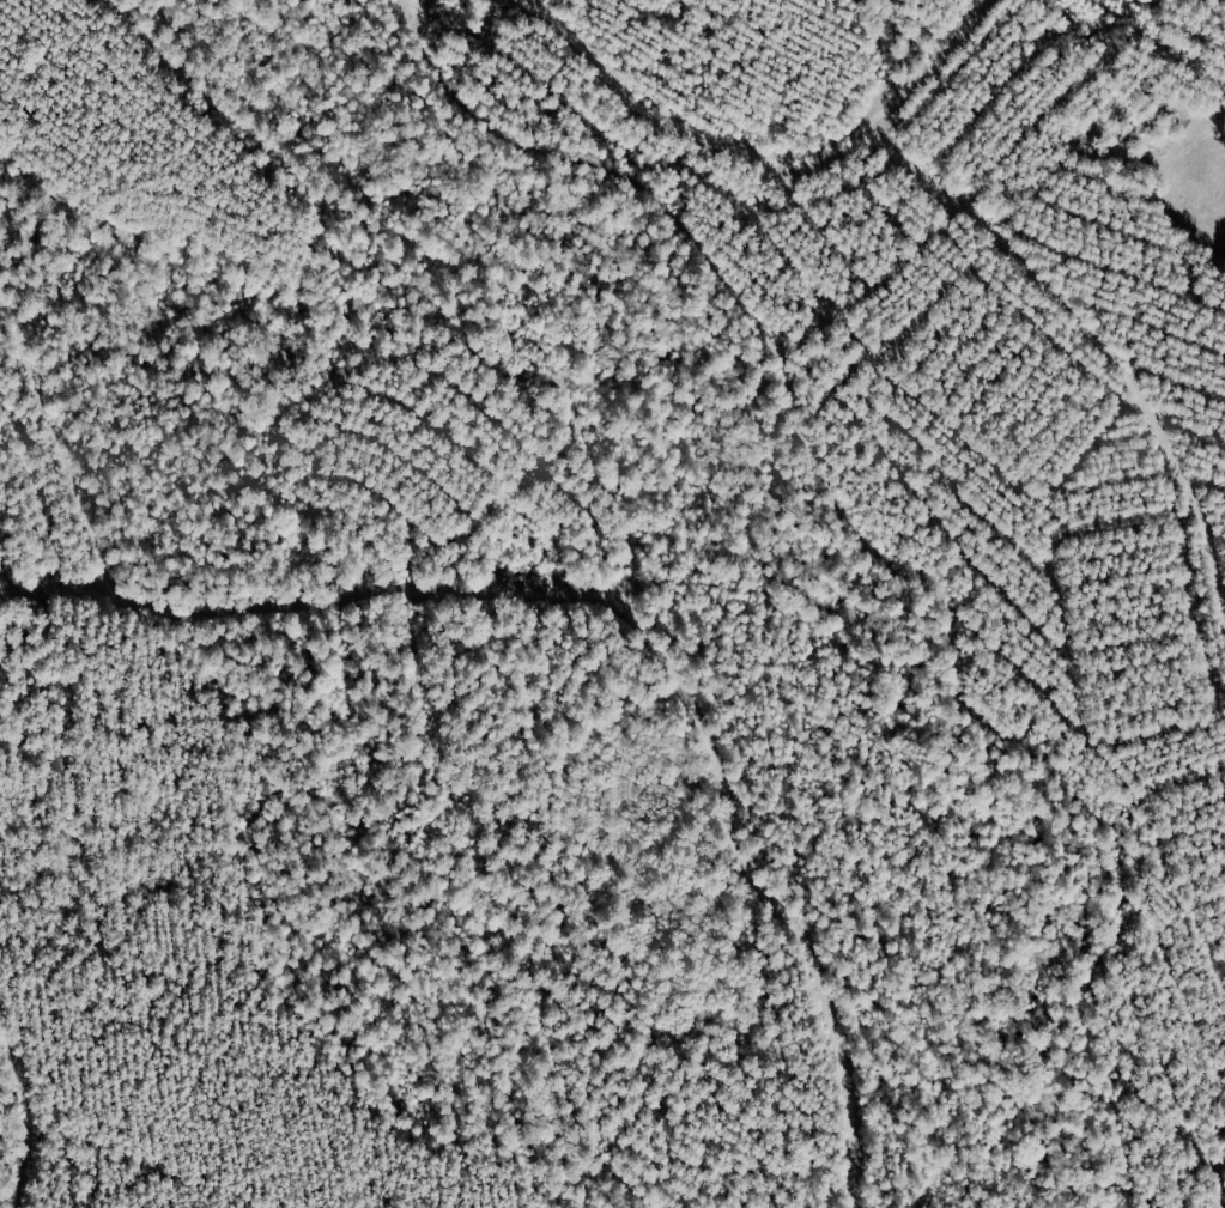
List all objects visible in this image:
road: (895, 66)
road: (886, 533)
road: (815, 897)

